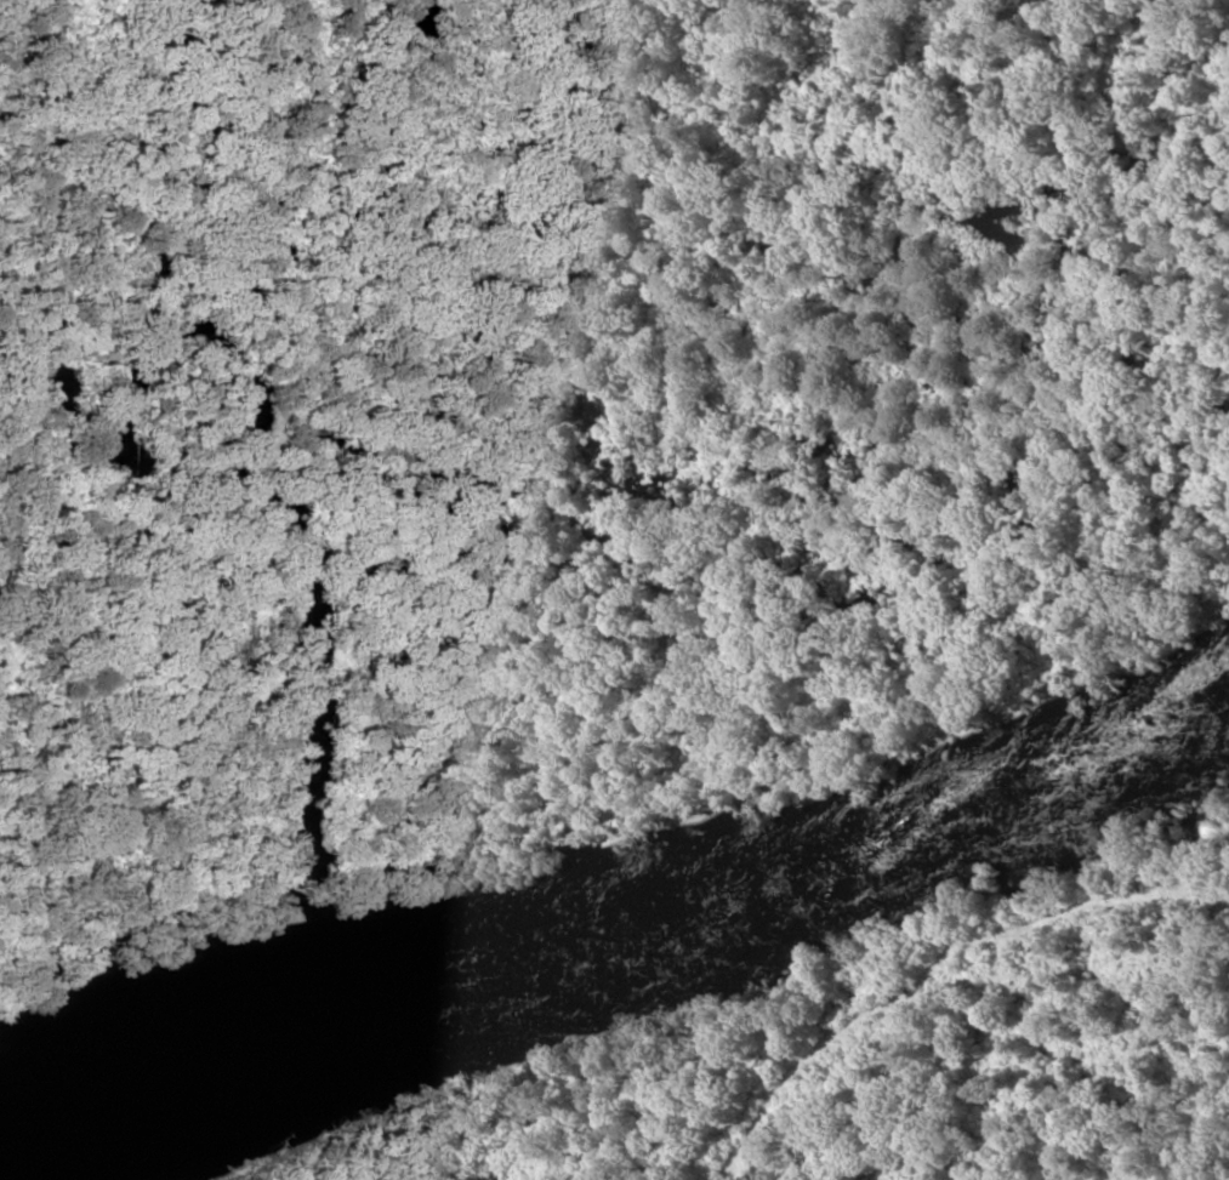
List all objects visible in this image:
river: (601, 907)

